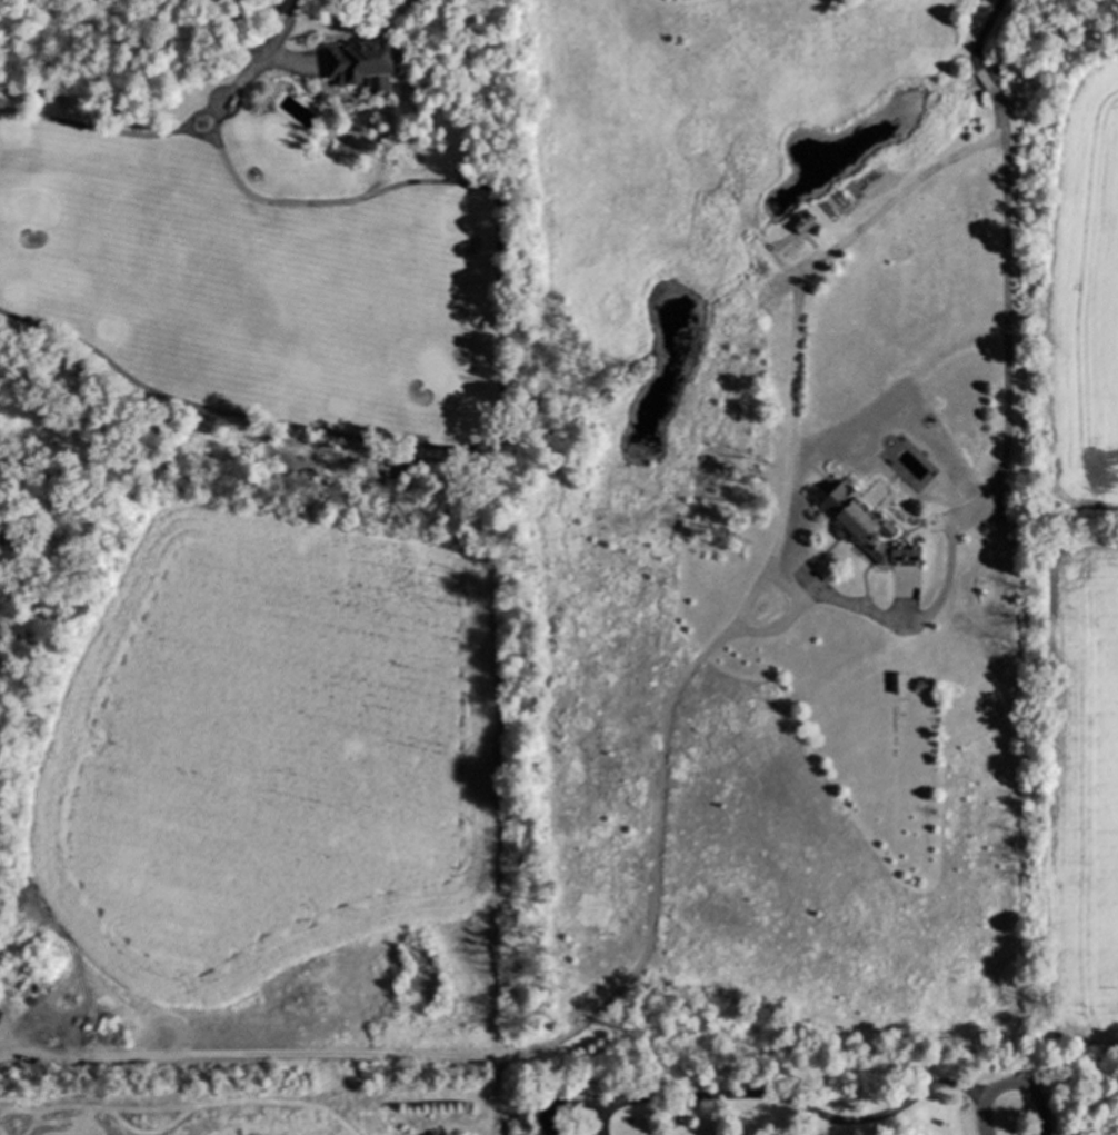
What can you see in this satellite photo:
building: (362, 64)
road: (256, 67)
building: (803, 222)
road: (996, 469)
building: (877, 542)
building: (899, 687)
building: (926, 689)
road: (665, 754)
road: (1, 1045)
road: (1011, 1084)
crop: (264, 1097)
road: (563, 1098)
road: (803, 1104)
road: (607, 1117)
road: (1086, 1129)

